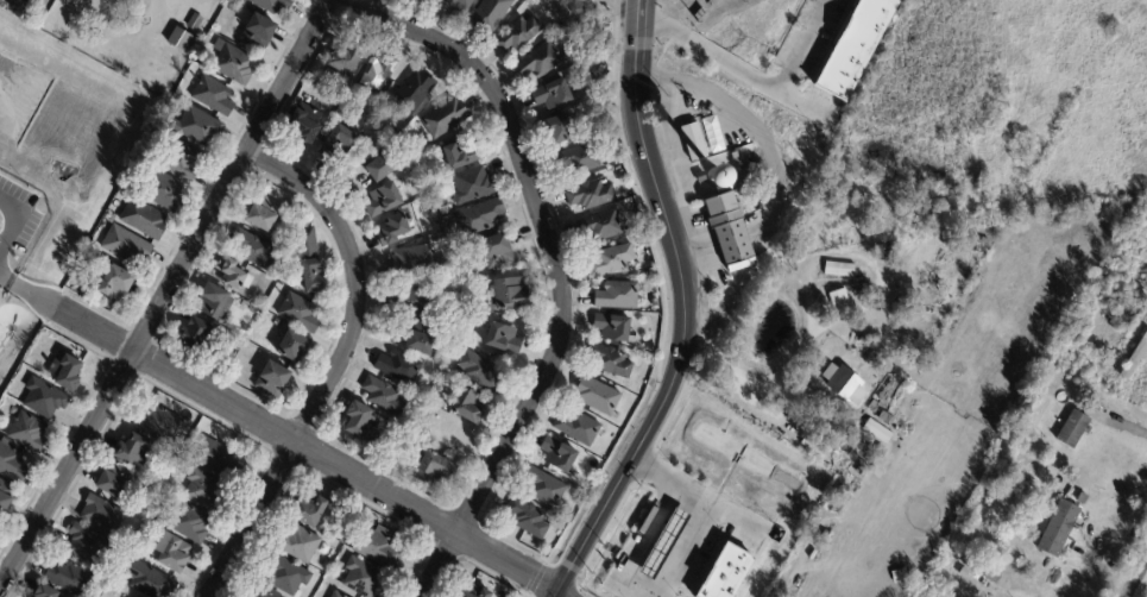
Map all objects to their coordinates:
building: (423, 0)
building: (273, 5)
building: (461, 5)
building: (806, 6)
building: (233, 10)
building: (491, 14)
building: (195, 24)
building: (260, 33)
building: (519, 36)
building: (179, 42)
building: (572, 46)
building: (853, 48)
building: (541, 62)
building: (345, 64)
building: (240, 70)
road: (757, 75)
building: (373, 80)
building: (416, 92)
building: (554, 96)
building: (214, 98)
building: (446, 119)
building: (692, 127)
building: (198, 128)
building: (305, 131)
building: (557, 131)
building: (716, 136)
building: (675, 143)
building: (339, 146)
building: (699, 152)
building: (462, 156)
building: (579, 161)
building: (183, 162)
road: (770, 162)
building: (379, 166)
building: (701, 178)
building: (474, 188)
building: (165, 193)
building: (593, 196)
building: (384, 201)
building: (724, 213)
building: (112, 219)
building: (481, 219)
road: (13, 220)
building: (261, 220)
building: (145, 221)
building: (304, 225)
building: (600, 227)
building: (393, 232)
building: (128, 249)
building: (252, 252)
building: (498, 253)
building: (415, 262)
building: (613, 262)
building: (838, 269)
road: (556, 271)
building: (234, 277)
building: (465, 277)
building: (314, 279)
road: (14, 283)
building: (114, 285)
building: (294, 288)
building: (77, 291)
road: (164, 295)
building: (512, 297)
building: (618, 297)
building: (838, 298)
building: (418, 301)
building: (213, 303)
road: (683, 310)
building: (1132, 312)
building: (301, 315)
building: (615, 331)
building: (196, 337)
building: (423, 341)
building: (504, 341)
building: (294, 350)
road: (339, 364)
building: (611, 364)
building: (399, 369)
building: (65, 371)
building: (479, 372)
building: (232, 376)
building: (273, 383)
building: (846, 387)
building: (598, 397)
building: (44, 398)
building: (385, 398)
building: (875, 408)
building: (471, 409)
building: (827, 417)
building: (888, 420)
building: (158, 422)
building: (361, 425)
building: (579, 429)
building: (1073, 429)
building: (876, 431)
building: (29, 432)
building: (824, 432)
road: (300, 444)
building: (134, 451)
building: (818, 452)
building: (215, 458)
building: (560, 458)
building: (12, 461)
building: (436, 472)
building: (114, 479)
building: (203, 489)
building: (546, 490)
building: (847, 491)
building: (6, 496)
building: (311, 511)
building: (103, 516)
building: (158, 516)
building: (529, 521)
building: (190, 523)
building: (348, 523)
building: (0, 524)
building: (153, 524)
building: (1059, 529)
building: (351, 542)
building: (88, 543)
building: (662, 543)
building: (301, 545)
building: (379, 548)
building: (174, 553)
road: (675, 571)
building: (982, 571)
building: (724, 572)
building: (288, 576)
building: (71, 578)
building: (364, 578)
building: (149, 580)
road: (1141, 585)
building: (957, 589)
building: (46, 592)
building: (478, 592)
road: (645, 592)
building: (265, 593)
building: (657, 593)
building: (339, 595)

